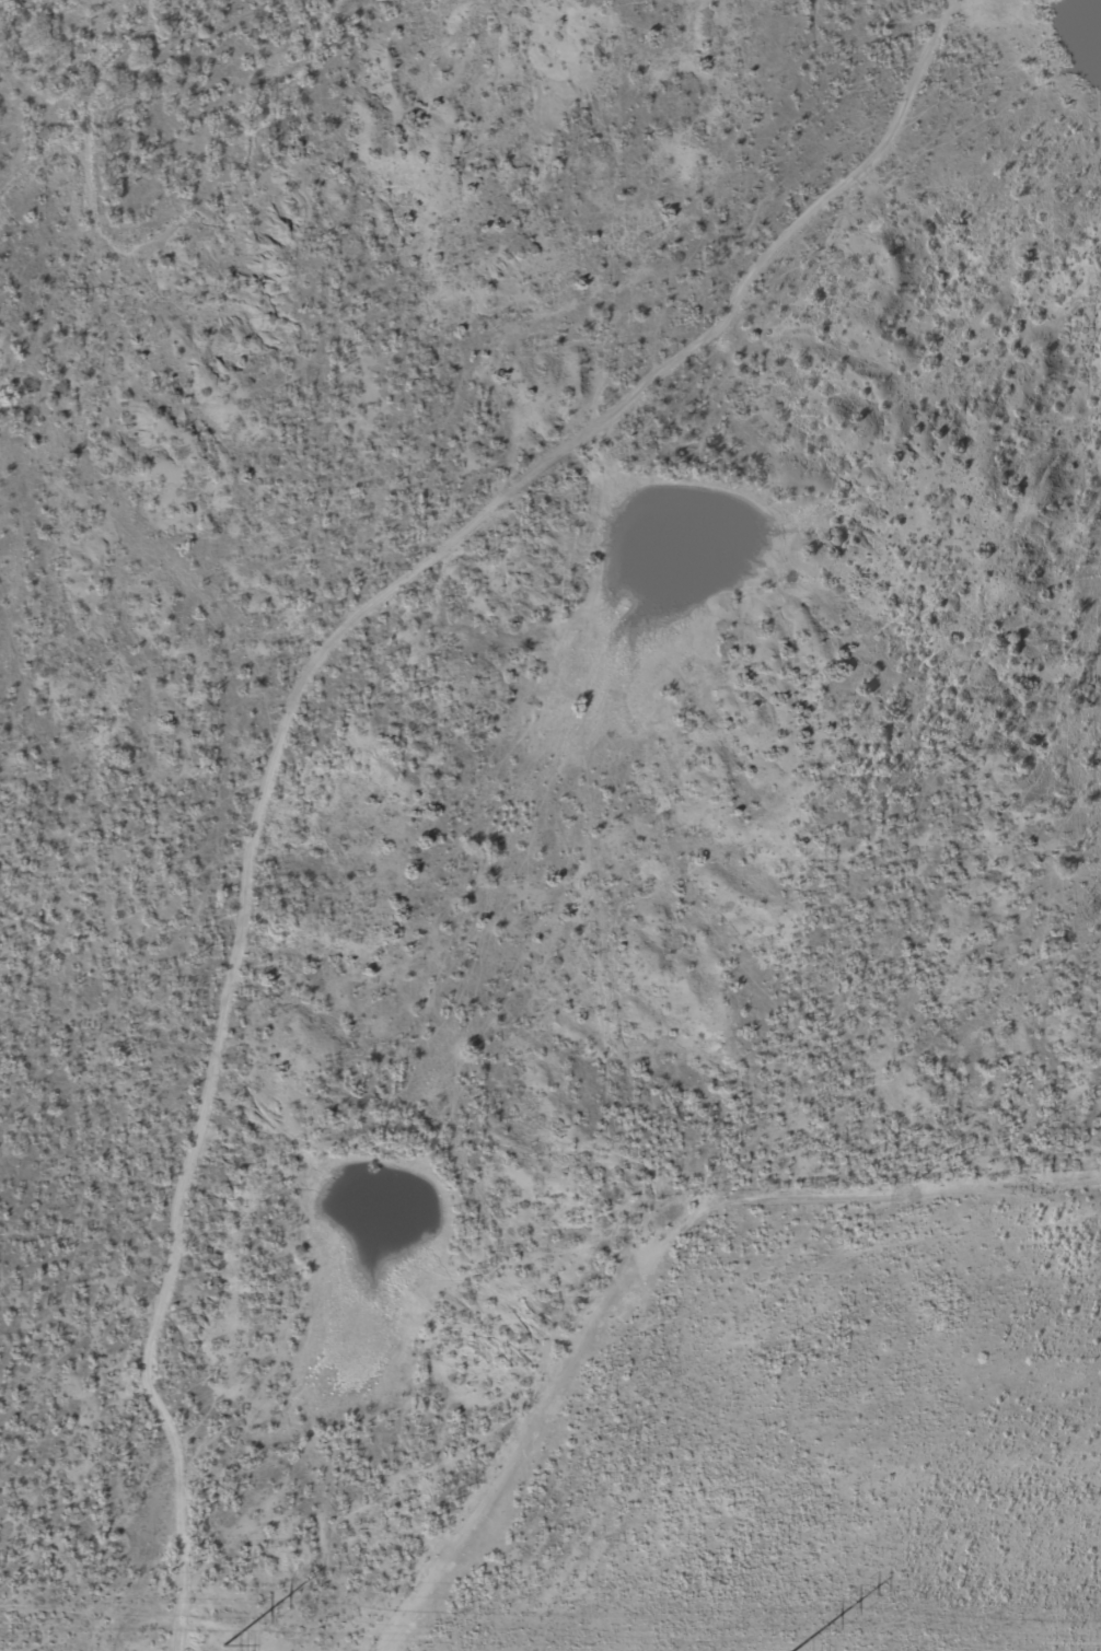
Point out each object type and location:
road: (309, 710)
power tower: (222, 1644)

